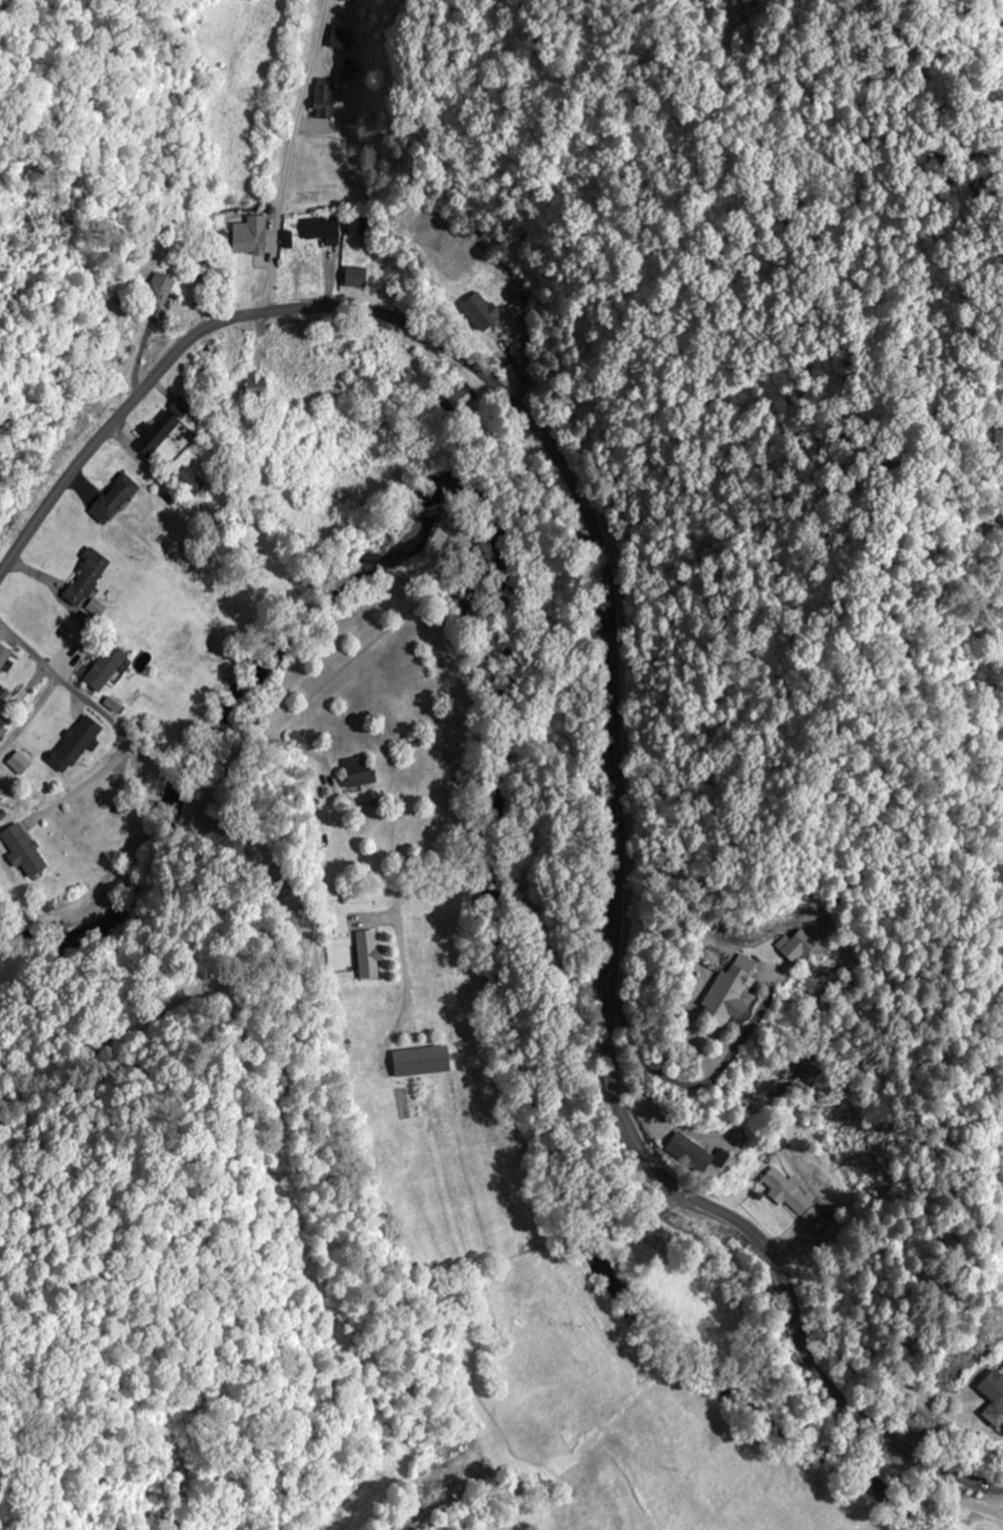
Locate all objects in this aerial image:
building: (349, 0)
building: (340, 37)
building: (346, 68)
building: (322, 98)
road: (290, 156)
building: (358, 224)
building: (320, 228)
building: (247, 235)
building: (353, 276)
building: (155, 291)
building: (477, 310)
building: (252, 384)
building: (459, 397)
building: (162, 426)
building: (187, 481)
building: (113, 496)
building: (84, 578)
building: (3, 655)
building: (103, 667)
road: (68, 682)
road: (604, 703)
building: (71, 744)
building: (356, 770)
building: (82, 818)
building: (21, 849)
building: (793, 945)
building: (365, 954)
building: (718, 992)
building: (418, 1060)
building: (690, 1152)
building: (788, 1195)
road: (975, 1263)
building: (989, 1398)

